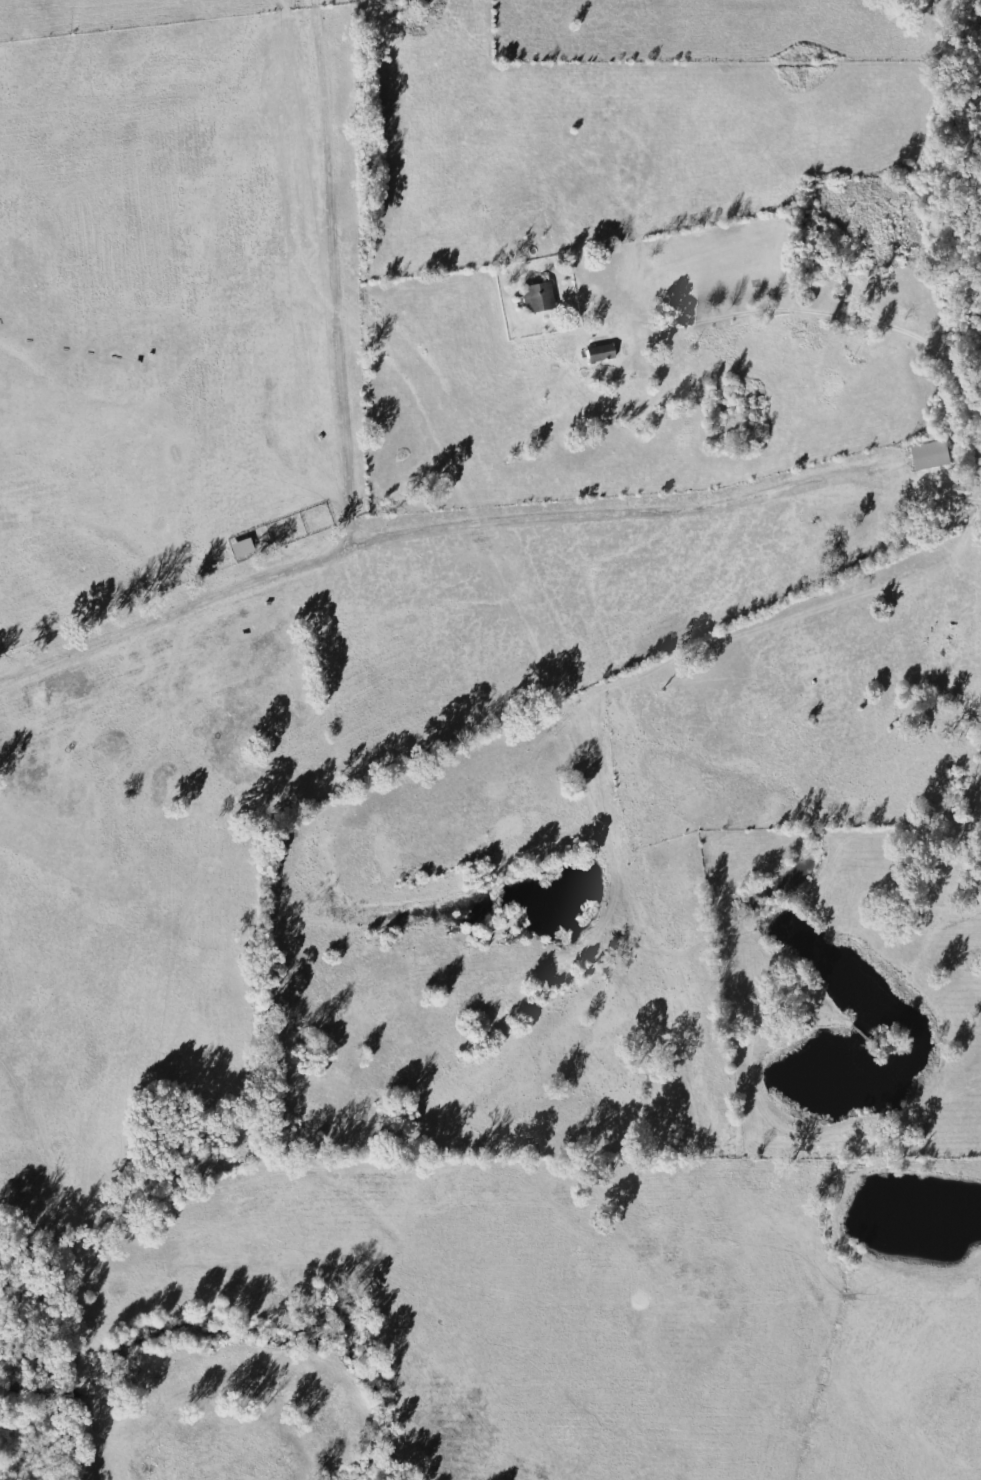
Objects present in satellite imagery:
building: (542, 297)
road: (920, 341)
building: (605, 353)
building: (938, 455)

